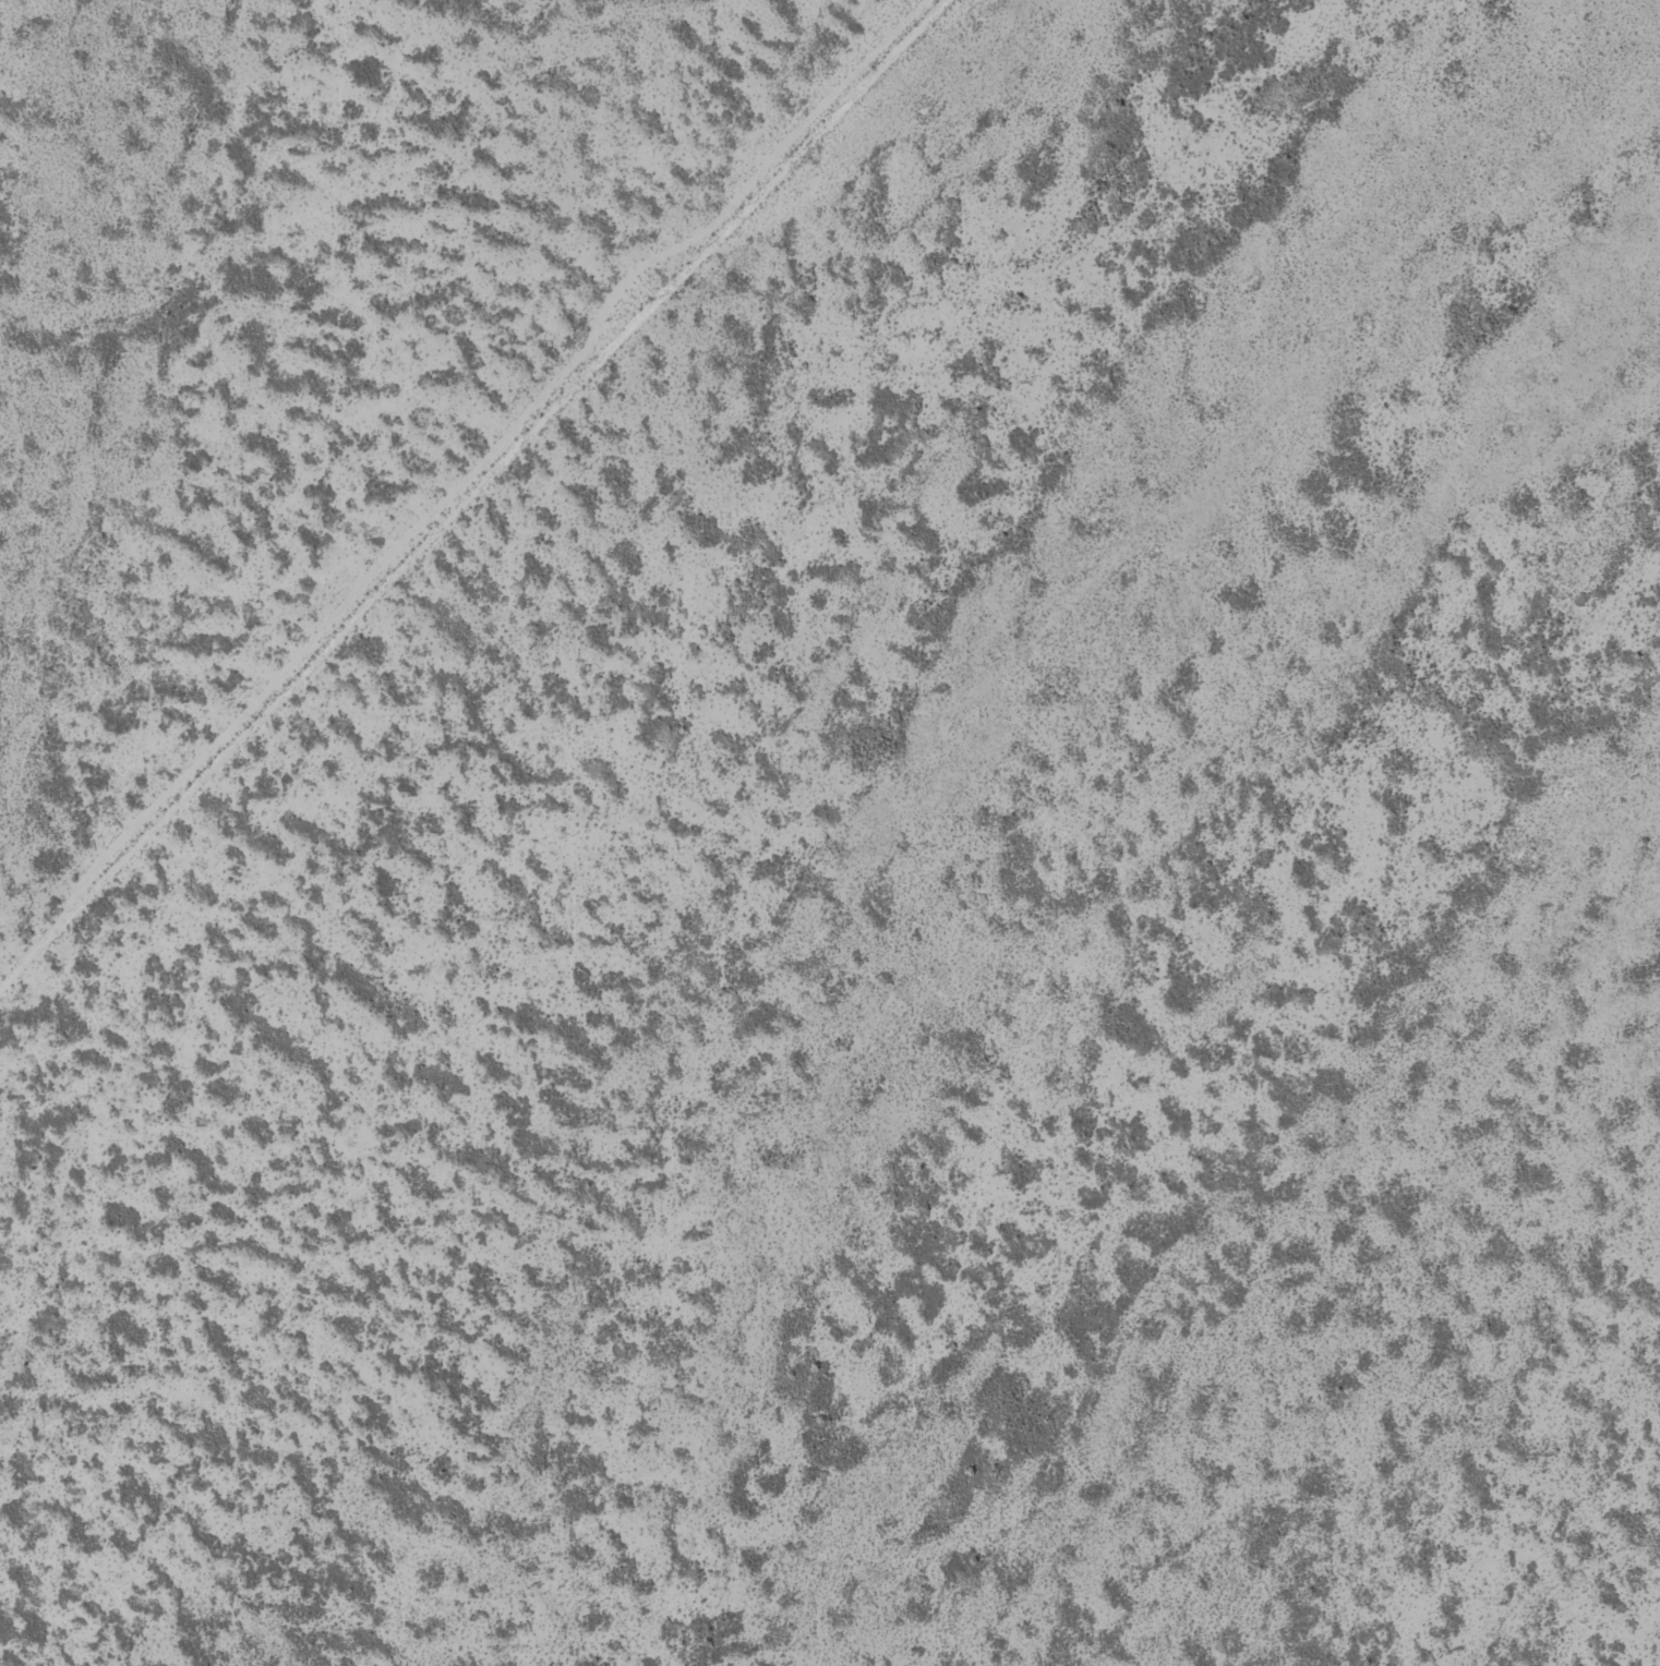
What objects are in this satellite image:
road: (95, 322)

